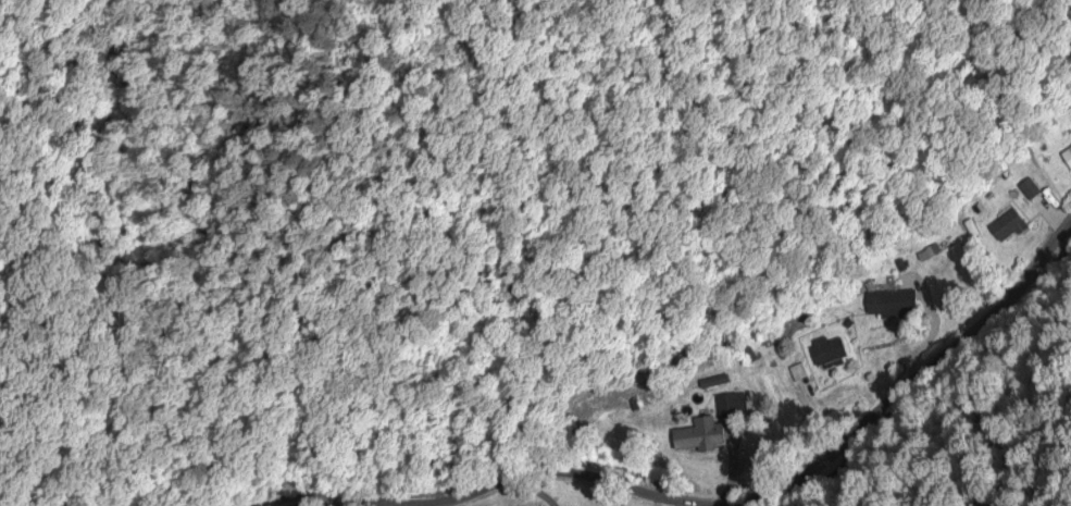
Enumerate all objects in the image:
building: (1067, 156)
building: (1029, 188)
building: (1007, 224)
building: (891, 303)
building: (827, 351)
road: (952, 385)
building: (731, 404)
building: (699, 434)

